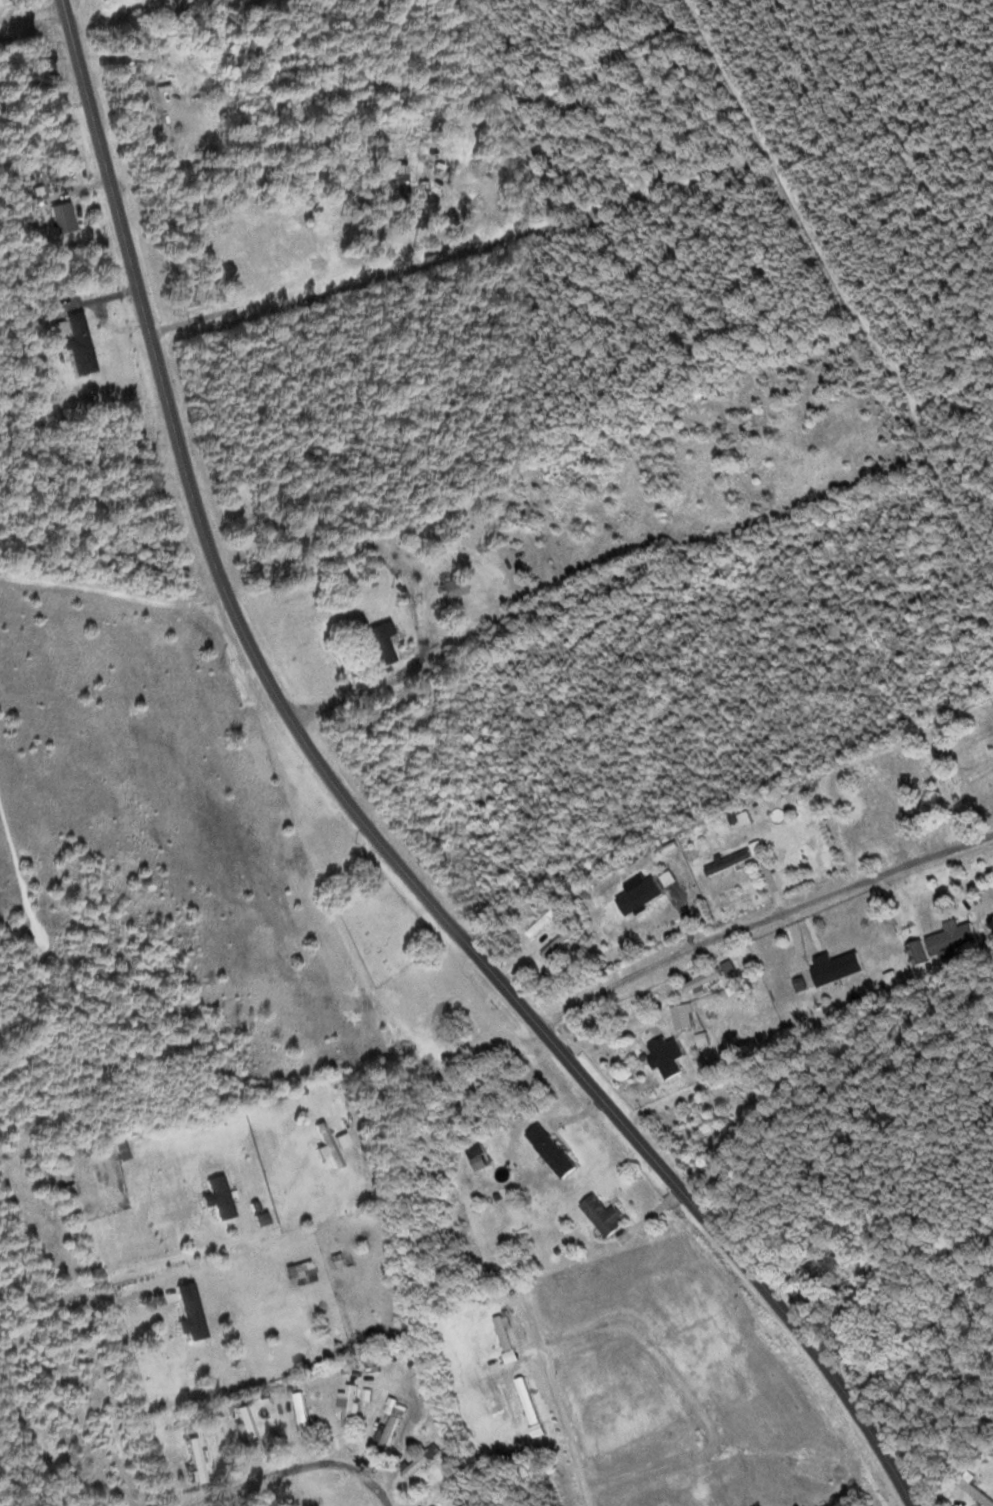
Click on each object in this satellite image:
building: (184, 0)
building: (158, 1)
building: (1, 2)
road: (33, 17)
building: (156, 102)
building: (61, 216)
building: (80, 342)
building: (453, 586)
road: (677, 622)
building: (382, 641)
road: (367, 818)
building: (728, 861)
road: (762, 919)
building: (544, 921)
park: (386, 928)
building: (951, 937)
building: (558, 942)
building: (665, 1055)
building: (551, 1148)
building: (217, 1195)
building: (602, 1213)
building: (193, 1316)
building: (509, 1331)
road: (145, 1394)
building: (351, 1404)
building: (303, 1411)
building: (247, 1426)
building: (392, 1427)
building: (196, 1455)
building: (421, 1460)
road: (298, 1470)
building: (976, 1489)

